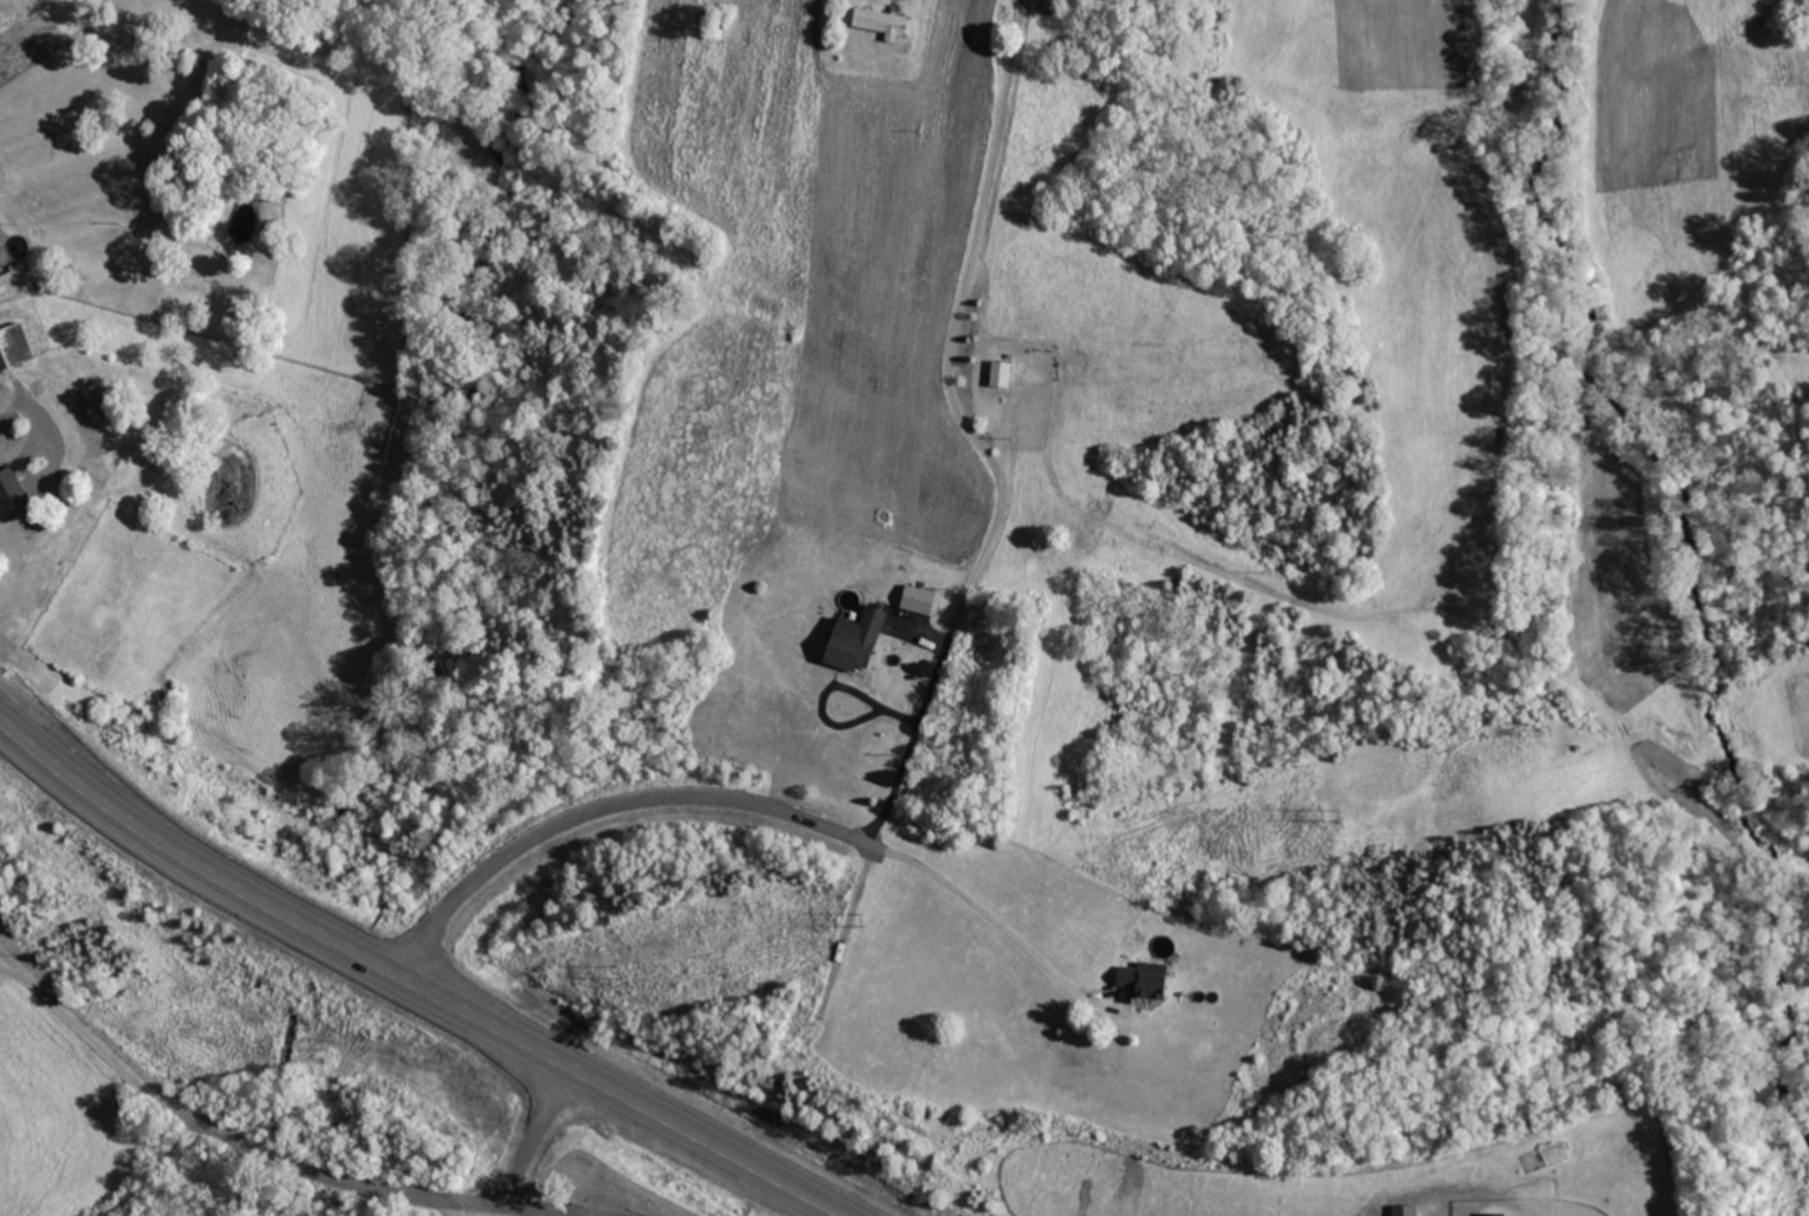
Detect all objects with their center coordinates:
building: (1051, 6)
building: (882, 22)
building: (0, 271)
building: (15, 348)
building: (1003, 374)
building: (920, 600)
building: (858, 641)
park: (980, 710)
road: (681, 801)
power tower: (1345, 821)
road: (275, 911)
power tower: (865, 925)
road: (439, 934)
power tower: (625, 979)
building: (1147, 985)
road: (702, 1143)
road: (527, 1146)
building: (1493, 1214)

